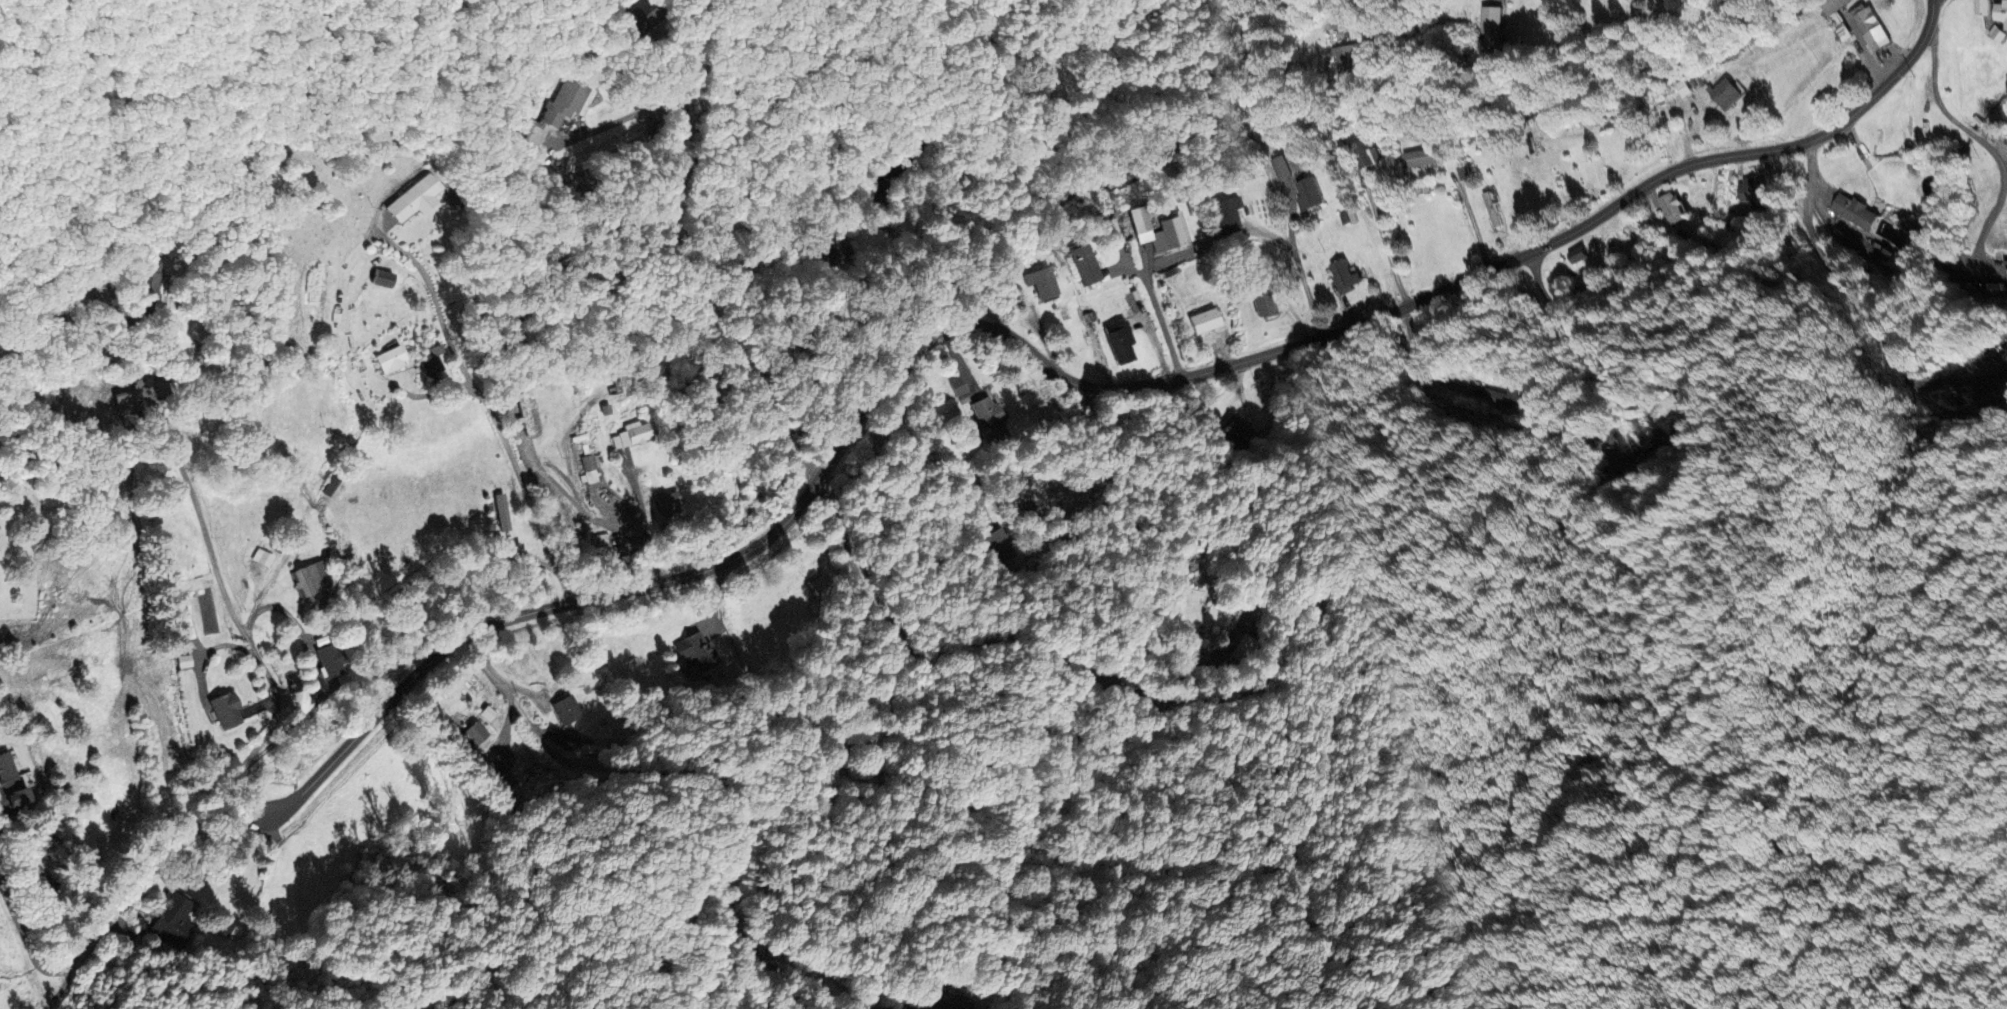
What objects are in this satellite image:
road: (1346, 2)
building: (1978, 8)
building: (1999, 14)
building: (1833, 16)
building: (640, 20)
road: (425, 24)
building: (623, 27)
building: (1869, 29)
building: (1489, 31)
building: (1994, 34)
building: (1342, 58)
building: (1723, 93)
road: (764, 98)
building: (555, 111)
road: (627, 116)
road: (1984, 144)
building: (1362, 154)
building: (1416, 158)
building: (1278, 168)
building: (1751, 192)
building: (1305, 194)
building: (413, 200)
building: (1488, 207)
building: (1668, 209)
building: (1850, 212)
building: (1227, 213)
building: (1141, 221)
building: (1170, 233)
road: (1380, 239)
building: (835, 251)
building: (1573, 255)
road: (674, 260)
building: (1082, 264)
building: (2004, 276)
building: (1339, 277)
building: (382, 278)
building: (1040, 282)
road: (1302, 289)
road: (69, 293)
building: (1261, 300)
road: (438, 303)
road: (1161, 319)
building: (1204, 321)
building: (1120, 341)
road: (1590, 352)
building: (389, 359)
building: (434, 360)
road: (1061, 373)
building: (1503, 398)
building: (126, 401)
building: (526, 412)
building: (988, 420)
building: (633, 434)
building: (1238, 434)
building: (1659, 435)
road: (1042, 461)
building: (591, 468)
road: (529, 492)
road: (641, 500)
building: (668, 503)
road: (624, 523)
building: (262, 558)
building: (310, 578)
road: (229, 601)
road: (317, 666)
road: (835, 671)
building: (224, 708)
building: (563, 709)
building: (476, 732)
building: (506, 780)
building: (8, 782)
road: (1210, 840)
road: (117, 913)
building: (173, 917)
road: (67, 990)

